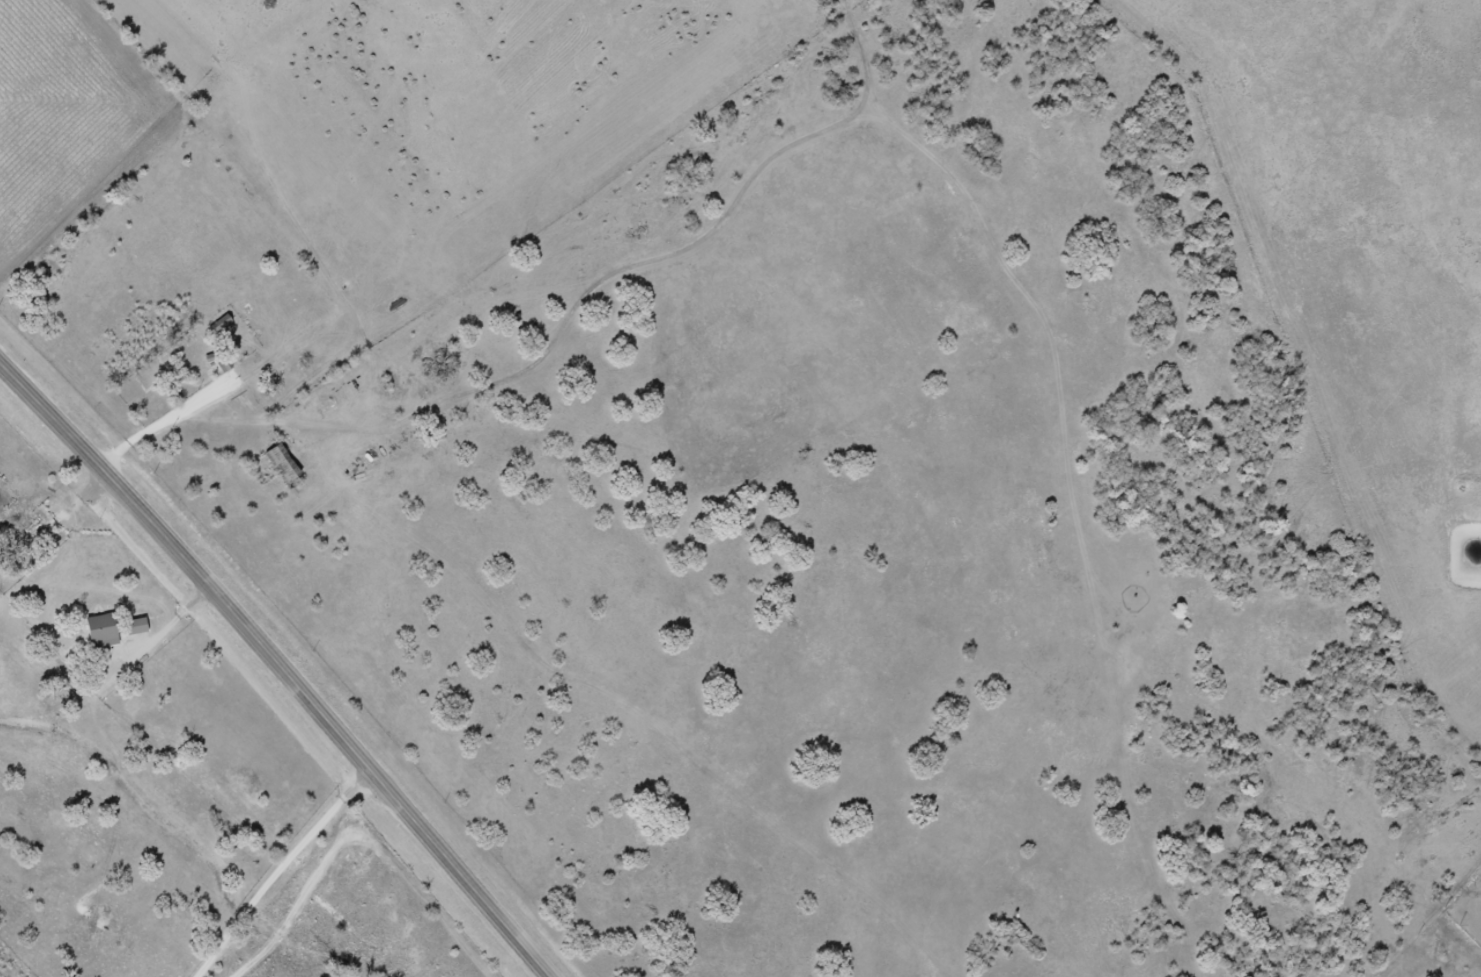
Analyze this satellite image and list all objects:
building: (220, 329)
building: (283, 464)
building: (136, 627)
building: (101, 632)
road: (280, 663)
road: (284, 870)

